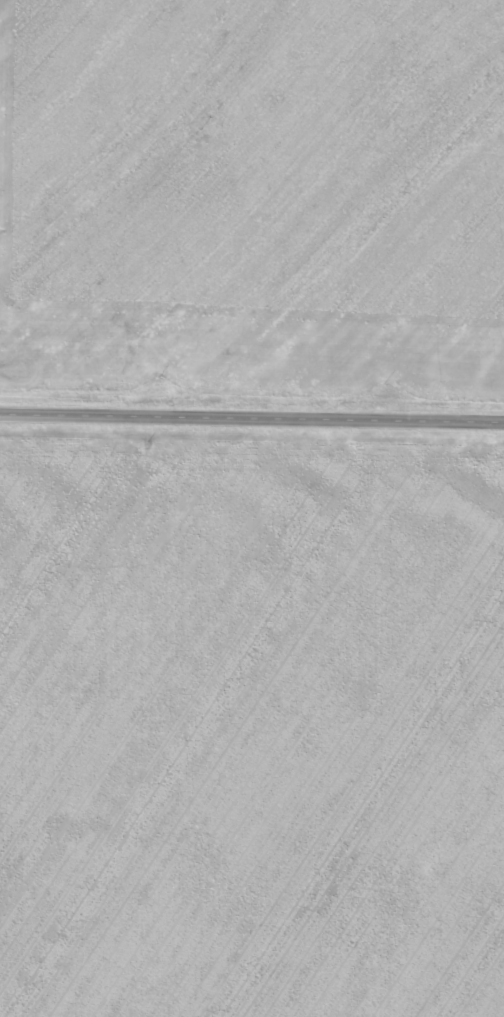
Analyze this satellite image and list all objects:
road: (252, 416)

